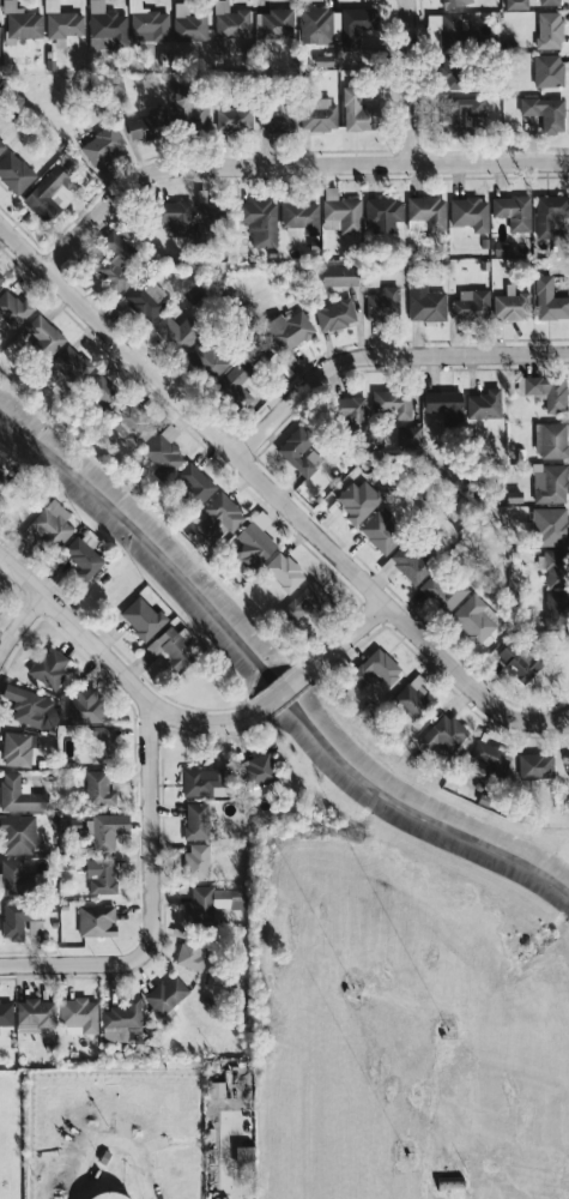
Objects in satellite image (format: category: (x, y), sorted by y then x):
building: (545, 1)
building: (449, 2)
building: (513, 4)
building: (231, 20)
building: (24, 22)
building: (63, 22)
building: (0, 23)
building: (187, 23)
building: (276, 24)
building: (442, 24)
building: (316, 25)
building: (107, 26)
building: (353, 28)
building: (545, 29)
building: (544, 68)
building: (444, 73)
road: (405, 80)
building: (358, 110)
building: (541, 112)
building: (193, 113)
building: (321, 115)
building: (234, 118)
building: (278, 118)
building: (149, 125)
building: (103, 145)
building: (1, 147)
road: (285, 163)
building: (16, 171)
building: (53, 188)
building: (510, 211)
building: (341, 212)
building: (466, 212)
building: (546, 212)
building: (382, 213)
building: (423, 213)
building: (180, 215)
building: (216, 216)
building: (301, 218)
building: (261, 221)
building: (116, 261)
building: (341, 275)
building: (1, 277)
building: (147, 300)
building: (547, 300)
building: (385, 303)
building: (423, 303)
building: (467, 303)
building: (509, 306)
building: (13, 308)
building: (337, 314)
building: (290, 330)
building: (44, 333)
building: (177, 333)
road: (381, 354)
building: (211, 357)
building: (73, 364)
building: (240, 384)
building: (544, 391)
building: (108, 392)
building: (392, 402)
building: (480, 403)
building: (411, 404)
building: (441, 404)
building: (355, 411)
building: (135, 426)
building: (405, 435)
building: (547, 439)
building: (301, 452)
building: (165, 456)
building: (5, 472)
building: (198, 482)
building: (546, 482)
building: (509, 495)
road: (273, 496)
building: (359, 499)
building: (222, 516)
building: (546, 525)
building: (50, 526)
building: (385, 530)
building: (256, 544)
building: (408, 564)
building: (552, 568)
building: (285, 572)
building: (443, 590)
building: (308, 603)
building: (552, 603)
building: (143, 617)
building: (474, 619)
road: (19, 622)
road: (346, 635)
building: (172, 649)
building: (521, 661)
building: (52, 669)
road: (116, 669)
building: (377, 669)
river: (266, 675)
road: (284, 688)
building: (414, 699)
building: (86, 706)
building: (34, 709)
building: (104, 734)
building: (444, 734)
building: (18, 749)
building: (491, 755)
building: (564, 763)
building: (534, 766)
building: (260, 770)
building: (202, 782)
building: (99, 788)
building: (20, 795)
building: (199, 821)
building: (75, 825)
road: (150, 827)
building: (102, 832)
building: (18, 835)
building: (198, 860)
building: (16, 875)
building: (102, 876)
building: (212, 902)
building: (19, 918)
building: (97, 921)
building: (192, 953)
road: (73, 963)
building: (168, 995)
building: (6, 1014)
building: (35, 1014)
building: (79, 1016)
building: (122, 1023)
road: (224, 1138)
road: (109, 1141)
building: (238, 1153)
building: (99, 1195)

